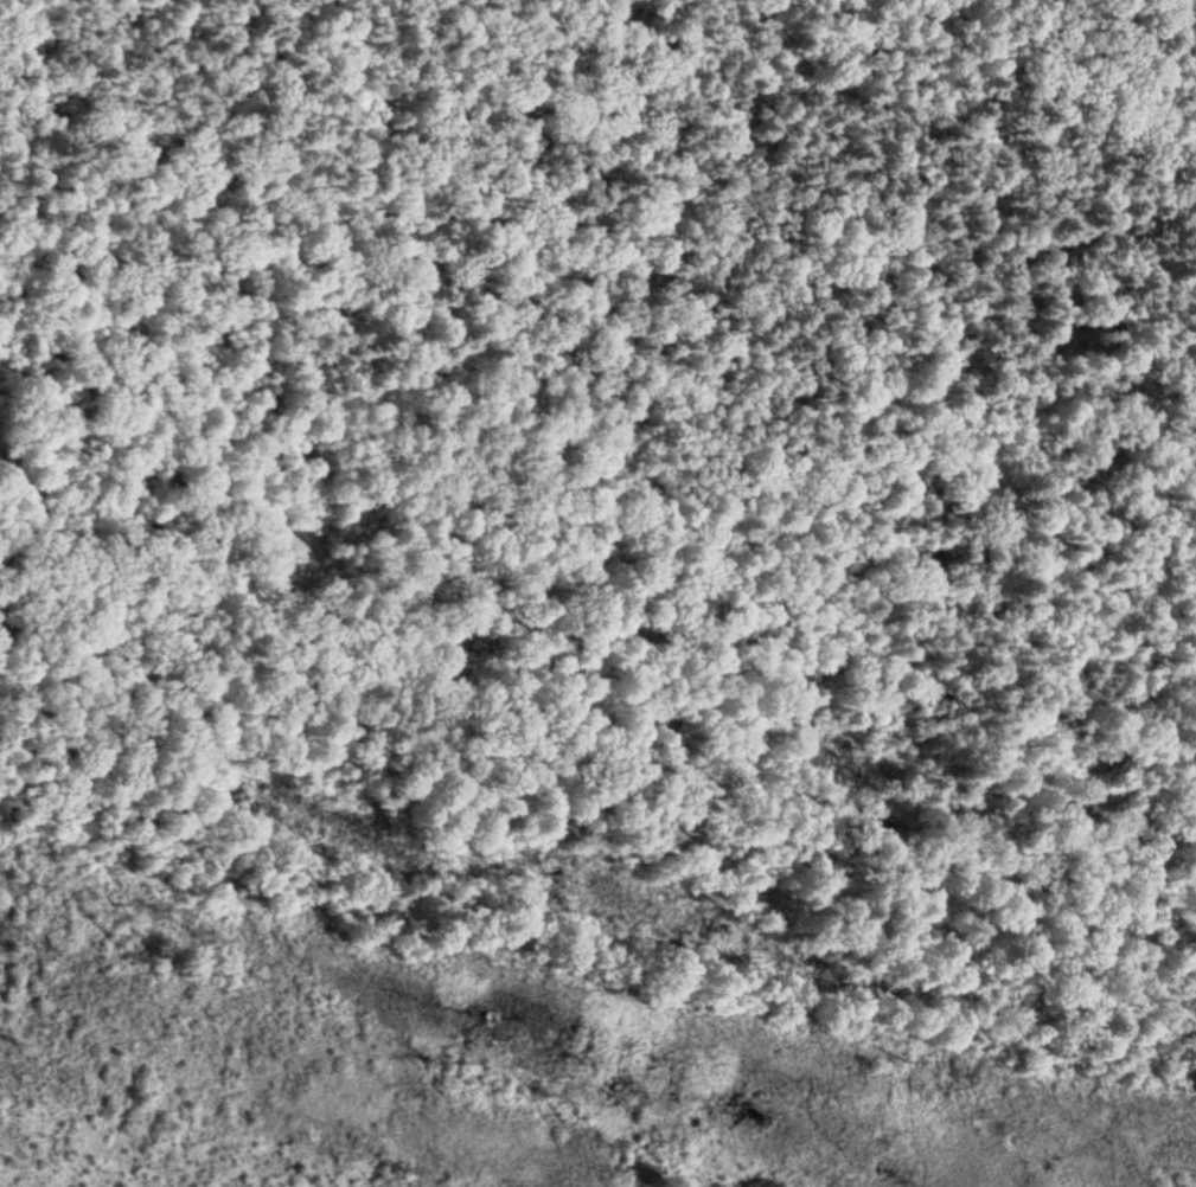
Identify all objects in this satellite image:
road: (1016, 121)

